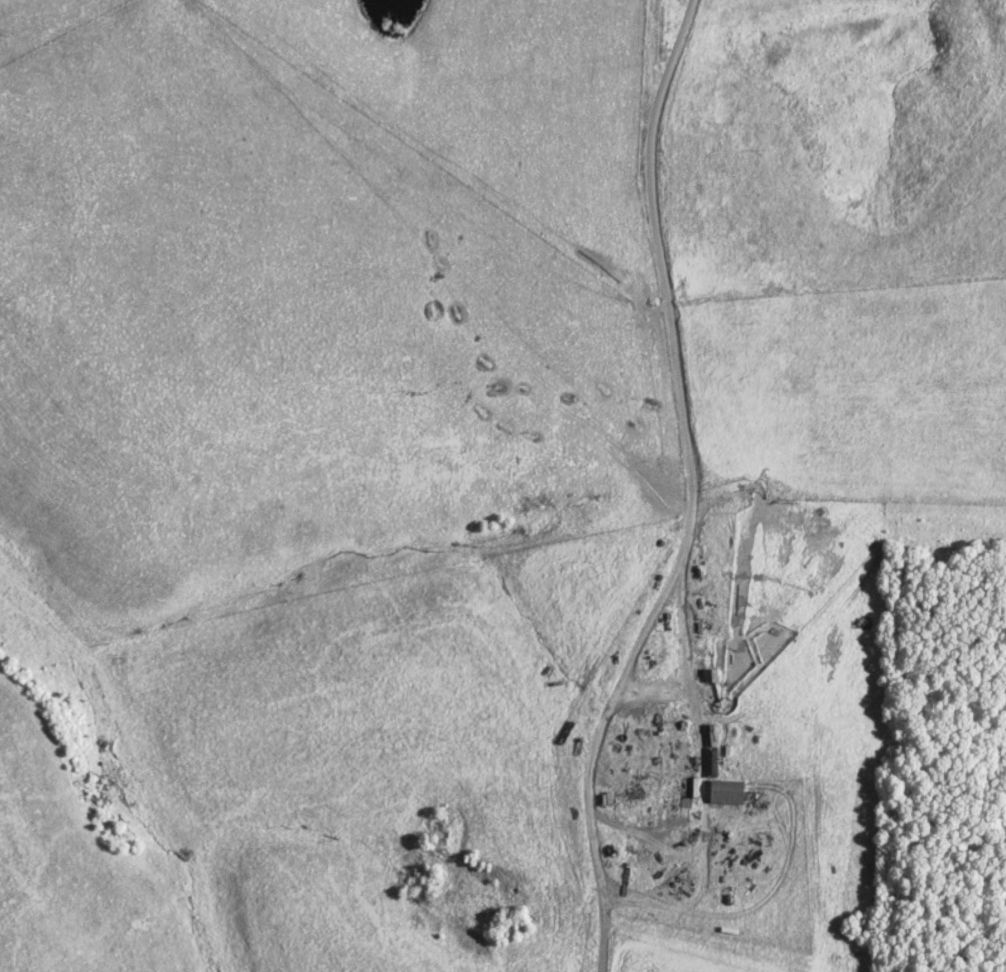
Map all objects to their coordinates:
road: (657, 285)
building: (709, 676)
road: (593, 778)
building: (693, 788)
building: (724, 794)

